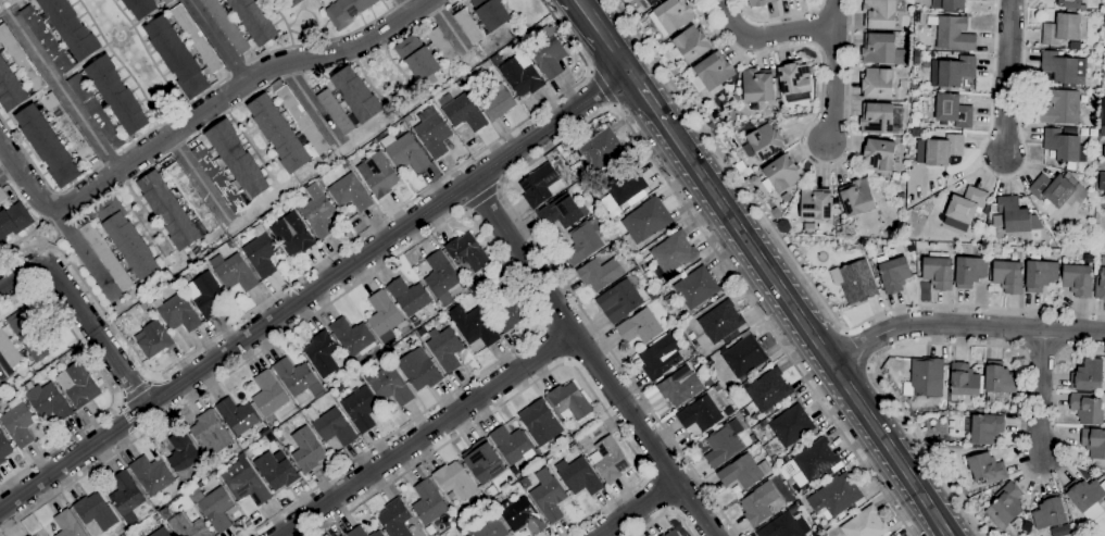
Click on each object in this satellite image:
road: (0, 0)
building: (781, 0)
building: (166, 1)
building: (319, 1)
building: (651, 2)
building: (759, 2)
road: (400, 3)
building: (1069, 3)
building: (953, 4)
road: (404, 7)
building: (140, 8)
building: (346, 12)
road: (836, 12)
building: (490, 13)
building: (882, 13)
building: (670, 16)
building: (916, 16)
road: (776, 18)
building: (254, 20)
building: (641, 20)
building: (226, 25)
building: (467, 26)
building: (70, 27)
road: (450, 29)
building: (1062, 29)
building: (952, 33)
road: (603, 35)
road: (766, 36)
building: (197, 38)
building: (46, 40)
road: (216, 41)
road: (323, 41)
building: (441, 45)
building: (690, 45)
building: (878, 49)
building: (548, 54)
building: (916, 57)
building: (176, 58)
building: (417, 58)
building: (21, 60)
building: (487, 65)
building: (1064, 68)
road: (237, 70)
building: (714, 71)
building: (674, 72)
building: (952, 73)
building: (520, 75)
building: (1089, 76)
road: (1006, 78)
building: (794, 82)
road: (833, 84)
building: (877, 84)
building: (904, 85)
building: (757, 86)
road: (601, 87)
building: (10, 89)
road: (236, 89)
road: (61, 91)
building: (116, 95)
building: (356, 95)
road: (645, 95)
building: (498, 102)
building: (1103, 102)
road: (314, 107)
building: (1060, 108)
building: (953, 110)
building: (96, 112)
building: (335, 112)
building: (464, 113)
road: (173, 115)
road: (598, 115)
building: (300, 117)
building: (877, 119)
building: (406, 120)
building: (1102, 120)
building: (711, 126)
building: (67, 127)
building: (403, 127)
road: (804, 130)
building: (1102, 130)
building: (432, 133)
building: (278, 134)
building: (762, 140)
building: (1064, 145)
building: (47, 146)
building: (601, 150)
building: (943, 150)
building: (405, 152)
building: (1104, 153)
building: (879, 155)
building: (237, 160)
road: (108, 161)
building: (1070, 166)
road: (7, 169)
building: (742, 169)
building: (378, 175)
building: (781, 175)
building: (895, 175)
road: (201, 176)
road: (41, 177)
road: (1003, 177)
building: (218, 178)
road: (25, 179)
building: (753, 180)
building: (625, 184)
building: (540, 186)
building: (1058, 190)
building: (350, 194)
building: (2, 196)
building: (900, 196)
building: (191, 197)
road: (481, 198)
building: (786, 198)
building: (857, 198)
building: (815, 203)
building: (966, 209)
building: (594, 210)
building: (168, 211)
building: (317, 211)
building: (562, 212)
building: (777, 213)
building: (1014, 216)
building: (646, 220)
building: (13, 221)
road: (436, 228)
building: (291, 235)
road: (24, 237)
building: (126, 238)
building: (582, 242)
road: (47, 246)
building: (103, 252)
building: (261, 252)
road: (86, 253)
building: (467, 253)
building: (674, 253)
building: (452, 263)
road: (316, 265)
building: (499, 265)
building: (234, 272)
building: (653, 272)
building: (969, 272)
building: (938, 273)
road: (20, 274)
building: (600, 274)
road: (802, 275)
building: (894, 275)
building: (1040, 275)
building: (1007, 276)
building: (441, 278)
building: (500, 279)
building: (1077, 281)
building: (856, 283)
building: (1100, 286)
building: (506, 287)
building: (696, 288)
road: (315, 290)
building: (651, 292)
building: (206, 295)
building: (409, 297)
building: (669, 300)
building: (618, 301)
building: (143, 307)
building: (177, 313)
building: (384, 316)
building: (510, 316)
building: (720, 322)
building: (474, 326)
road: (963, 326)
building: (640, 327)
road: (806, 327)
building: (404, 331)
building: (422, 332)
building: (30, 334)
road: (96, 336)
building: (352, 337)
building: (154, 339)
road: (554, 344)
building: (445, 348)
road: (857, 349)
road: (1006, 349)
building: (692, 350)
building: (9, 351)
building: (322, 353)
building: (658, 357)
building: (743, 357)
road: (591, 359)
building: (61, 360)
building: (419, 370)
building: (43, 373)
road: (2, 374)
building: (1087, 376)
road: (151, 377)
building: (298, 378)
building: (925, 378)
road: (537, 379)
building: (997, 381)
building: (963, 384)
building: (78, 385)
road: (108, 386)
building: (391, 387)
building: (679, 387)
building: (717, 389)
road: (136, 390)
building: (768, 390)
building: (268, 395)
road: (1038, 396)
building: (47, 401)
road: (118, 401)
building: (569, 402)
building: (983, 404)
building: (1085, 408)
building: (361, 409)
building: (700, 414)
road: (128, 415)
building: (237, 416)
building: (538, 422)
building: (17, 423)
building: (762, 424)
building: (791, 426)
building: (335, 427)
building: (984, 428)
road: (138, 431)
building: (595, 433)
building: (210, 434)
road: (428, 435)
building: (753, 438)
building: (1093, 442)
building: (724, 444)
building: (513, 445)
building: (4, 448)
building: (307, 450)
building: (183, 454)
building: (241, 457)
building: (607, 460)
building: (812, 463)
building: (484, 464)
building: (985, 469)
building: (276, 471)
building: (743, 472)
building: (151, 475)
building: (579, 476)
building: (455, 481)
building: (248, 487)
road: (658, 494)
building: (548, 496)
building: (836, 496)
building: (126, 497)
building: (1087, 497)
building: (479, 498)
building: (429, 502)
building: (758, 503)
building: (1005, 506)
road: (637, 508)
building: (216, 509)
building: (151, 510)
building: (96, 512)
building: (1047, 513)
road: (663, 514)
building: (520, 515)
building: (155, 518)
building: (394, 519)
building: (865, 524)
building: (68, 525)
building: (786, 525)
building: (188, 526)
building: (491, 528)
building: (161, 532)
building: (356, 532)
building: (377, 534)
building: (673, 534)
building: (816, 534)
building: (126, 535)
building: (467, 535)
building: (662, 535)

